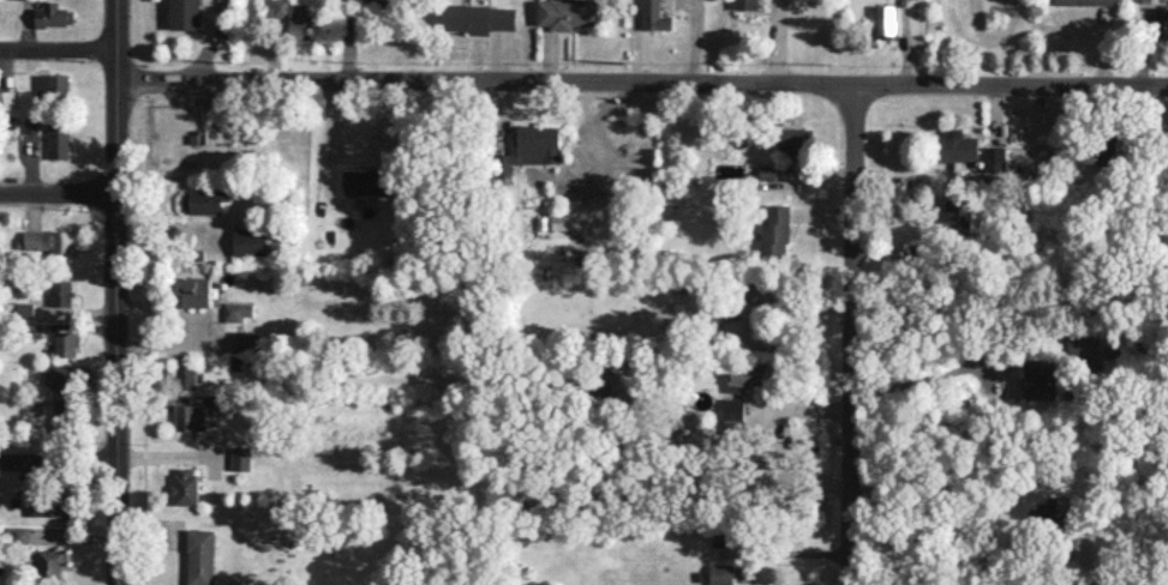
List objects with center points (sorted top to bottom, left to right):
building: (381, 1)
building: (1088, 1)
building: (747, 4)
building: (185, 13)
building: (567, 13)
building: (54, 14)
building: (655, 16)
building: (293, 17)
building: (479, 17)
building: (886, 18)
building: (1161, 18)
road: (209, 43)
road: (59, 48)
road: (612, 82)
road: (1138, 84)
building: (53, 85)
building: (7, 98)
building: (32, 123)
building: (59, 137)
building: (796, 141)
building: (956, 145)
building: (532, 146)
building: (1108, 147)
building: (995, 157)
building: (768, 171)
building: (367, 181)
road: (58, 195)
building: (205, 200)
building: (960, 213)
building: (775, 231)
building: (251, 241)
building: (52, 242)
building: (193, 290)
building: (61, 291)
road: (116, 291)
building: (25, 308)
road: (855, 333)
building: (67, 343)
road: (938, 367)
building: (187, 374)
building: (64, 375)
building: (748, 375)
building: (1040, 378)
building: (733, 408)
building: (65, 414)
building: (191, 416)
building: (241, 457)
road: (58, 459)
building: (186, 487)
building: (37, 505)
building: (64, 506)
building: (1055, 507)
building: (22, 533)
building: (200, 556)
road: (957, 559)
building: (50, 561)
building: (721, 573)

